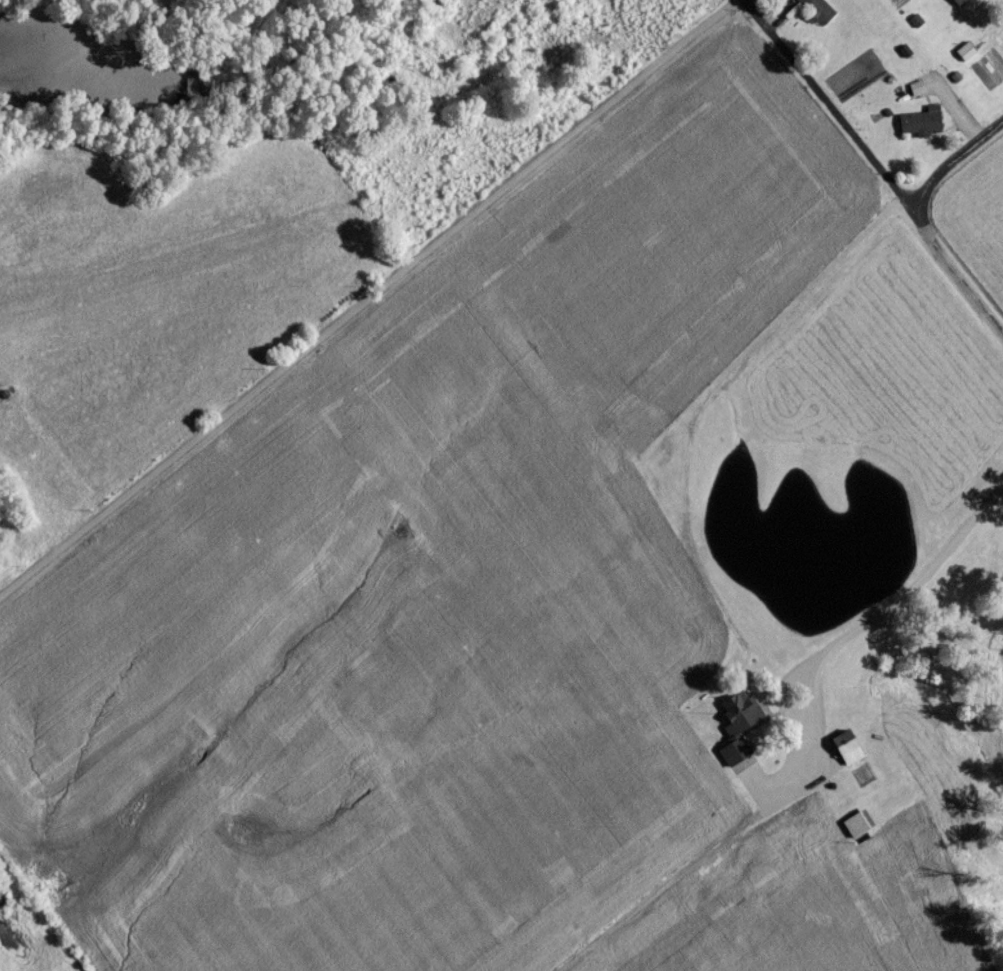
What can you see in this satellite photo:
building: (956, 5)
building: (811, 14)
building: (918, 128)
road: (874, 169)
road: (955, 171)
road: (372, 303)
road: (909, 590)
building: (736, 729)
building: (843, 754)
building: (854, 830)

